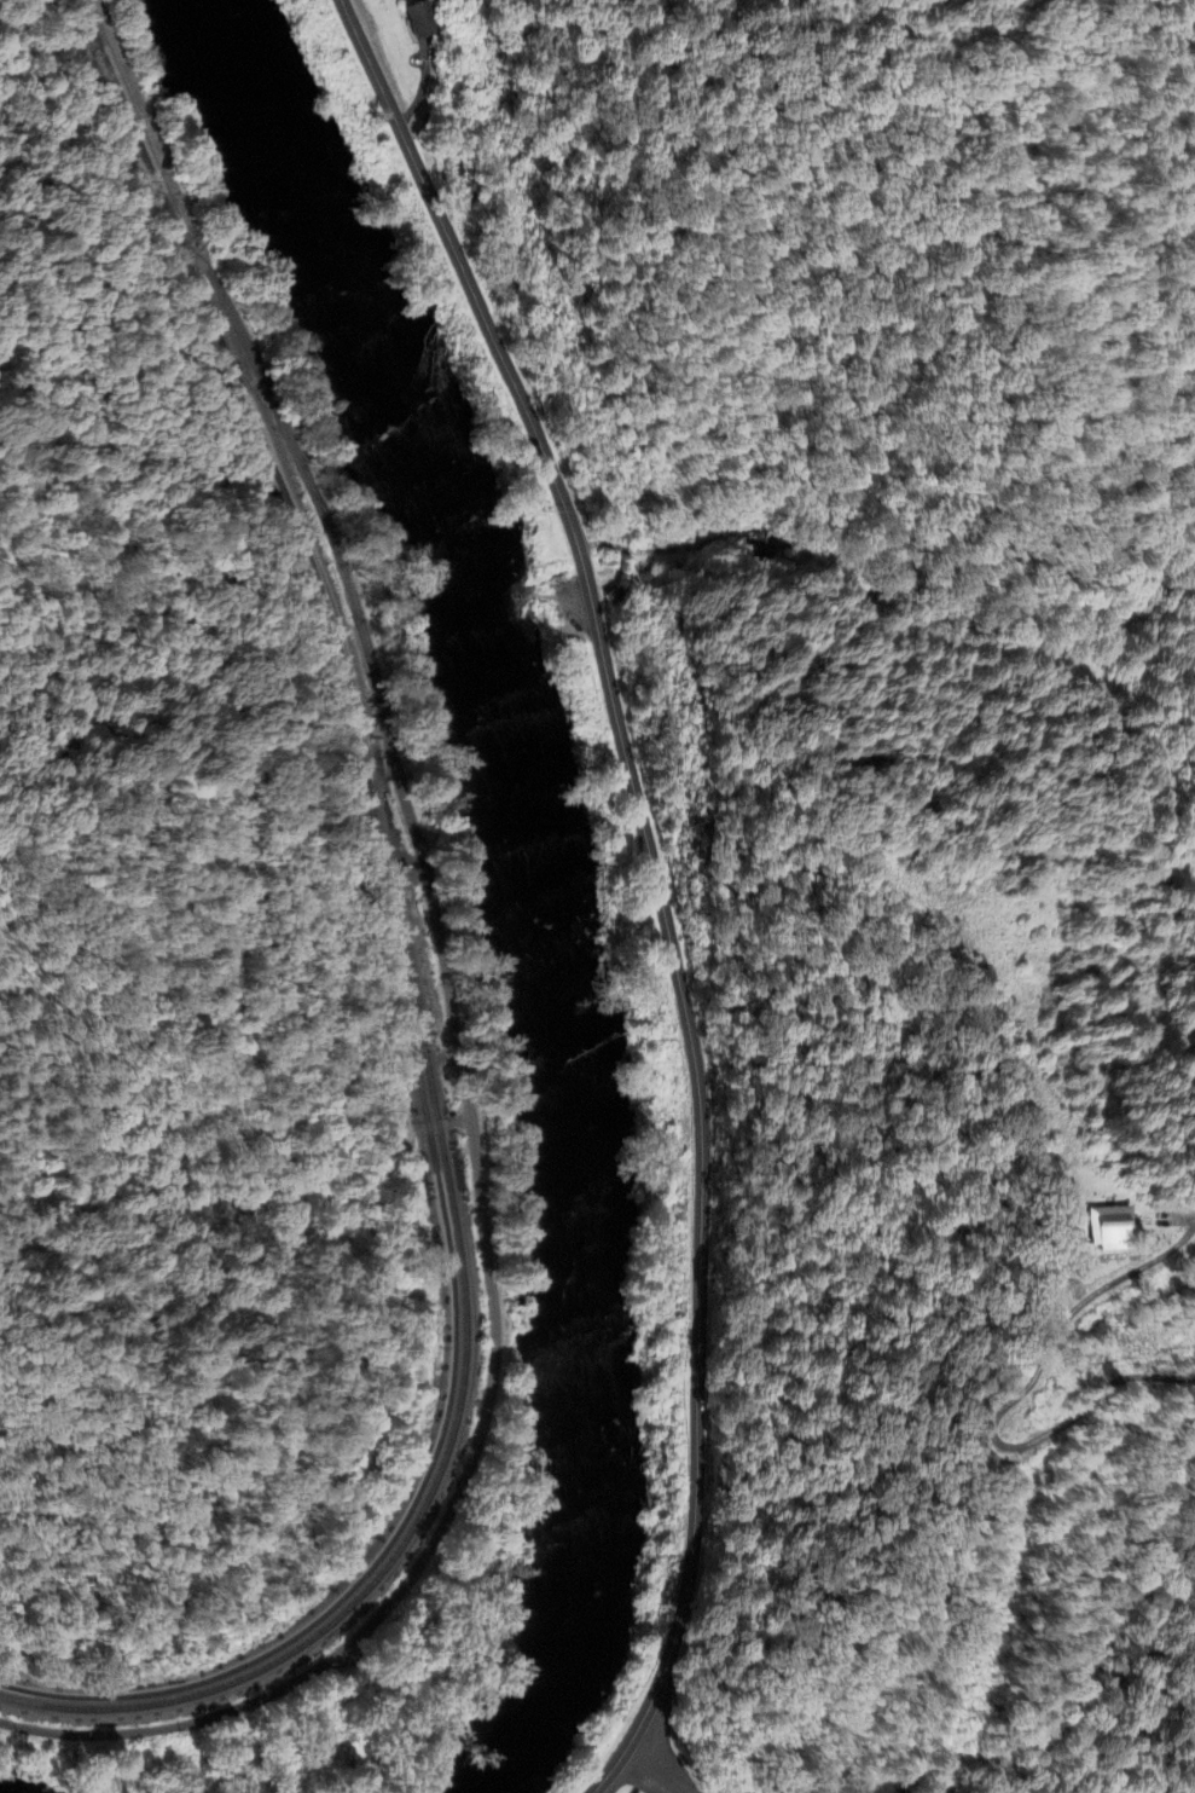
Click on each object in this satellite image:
building: (423, 21)
building: (754, 549)
river: (543, 861)
road: (659, 881)
railway: (406, 978)
road: (446, 988)
building: (1110, 1231)
building: (985, 1463)
road: (646, 1775)

